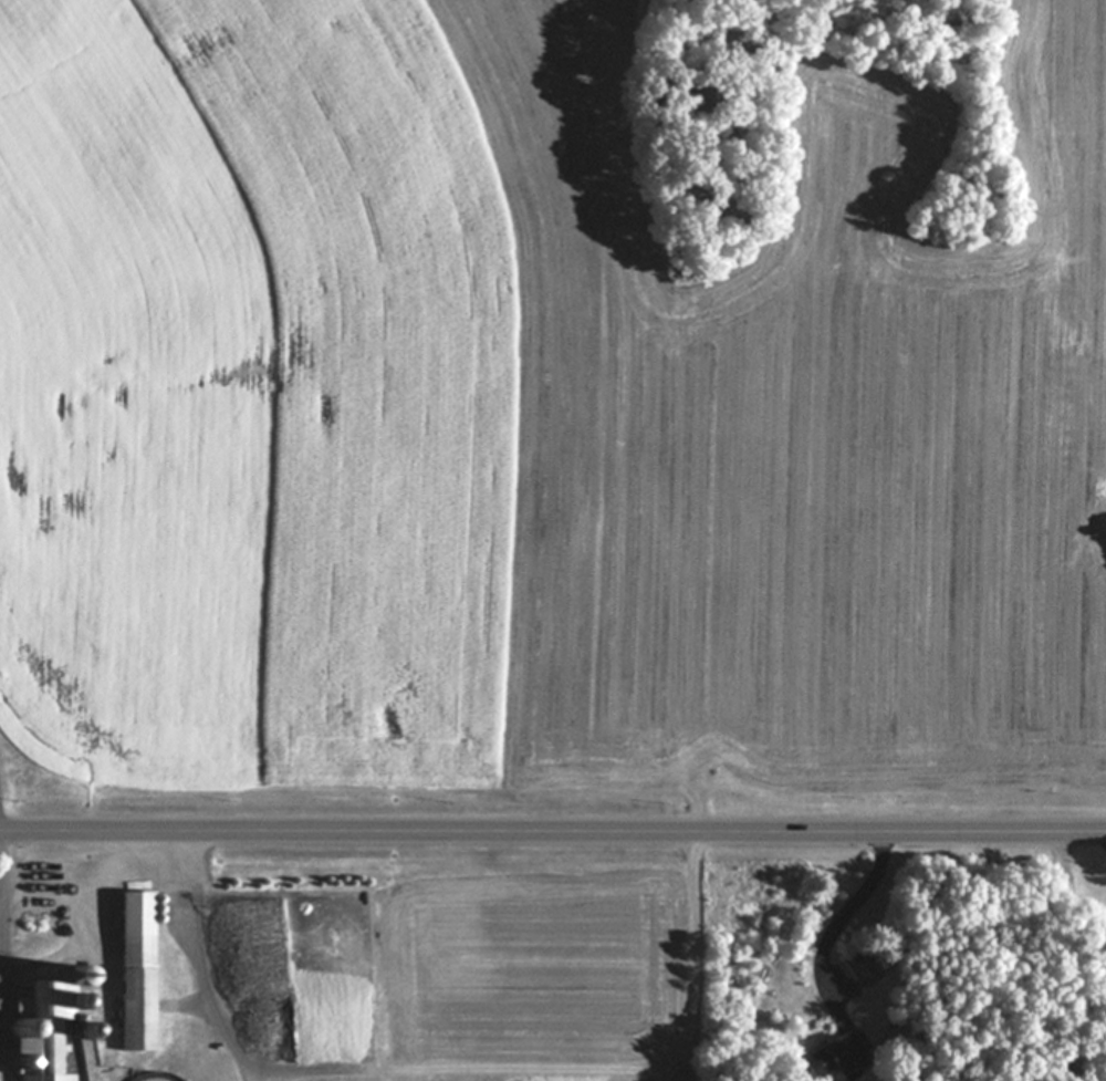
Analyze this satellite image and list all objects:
road: (552, 833)
road: (161, 857)
building: (1062, 894)
road: (849, 912)
road: (7, 956)
building: (853, 966)
building: (133, 969)
building: (44, 1025)
building: (833, 1057)
road: (574, 1067)

